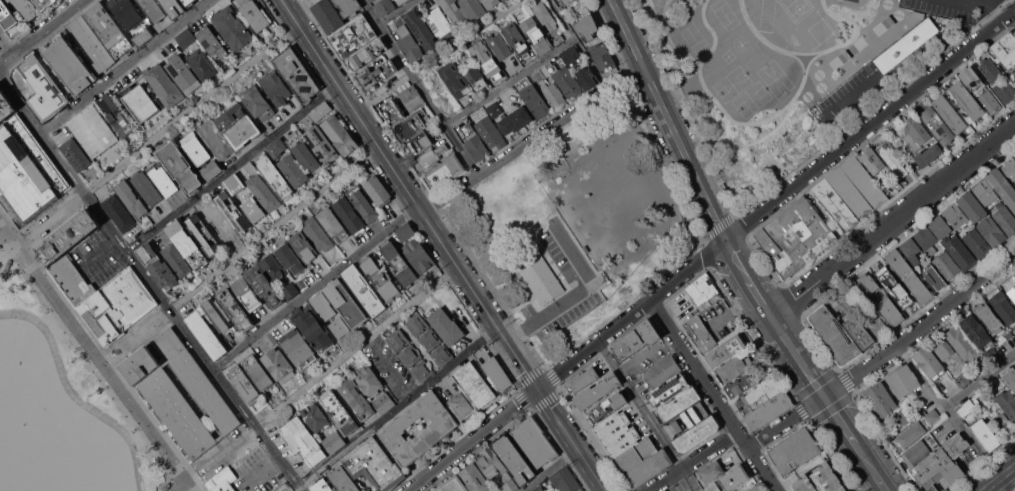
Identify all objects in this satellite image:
building: (9, 0)
building: (371, 0)
building: (504, 0)
building: (189, 2)
building: (565, 2)
building: (45, 3)
building: (490, 3)
road: (297, 5)
building: (384, 6)
building: (173, 7)
building: (348, 7)
road: (982, 7)
building: (473, 8)
building: (25, 9)
building: (152, 9)
building: (128, 12)
road: (396, 12)
building: (455, 13)
building: (254, 14)
building: (7, 15)
building: (328, 15)
building: (545, 17)
building: (954, 18)
building: (439, 21)
building: (231, 27)
building: (587, 27)
building: (108, 29)
building: (421, 29)
road: (41, 33)
building: (352, 35)
building: (143, 37)
building: (186, 38)
building: (516, 39)
building: (558, 40)
building: (408, 41)
building: (92, 42)
building: (212, 43)
road: (7, 44)
road: (578, 44)
building: (542, 45)
building: (906, 45)
building: (498, 46)
building: (1005, 49)
building: (368, 53)
building: (571, 55)
road: (443, 56)
building: (602, 58)
building: (487, 60)
building: (200, 63)
building: (70, 65)
road: (124, 66)
building: (990, 69)
building: (296, 73)
building: (183, 74)
building: (377, 74)
building: (1013, 76)
building: (476, 77)
building: (454, 78)
building: (586, 78)
building: (970, 78)
building: (566, 82)
building: (163, 83)
road: (510, 83)
building: (276, 87)
road: (419, 87)
building: (43, 88)
building: (549, 88)
building: (1005, 91)
building: (410, 96)
building: (533, 98)
building: (966, 100)
building: (988, 101)
building: (140, 102)
building: (257, 102)
building: (5, 107)
building: (494, 109)
building: (320, 110)
building: (391, 113)
building: (949, 113)
building: (115, 115)
building: (515, 120)
building: (238, 125)
road: (869, 125)
building: (937, 125)
building: (411, 127)
building: (917, 130)
building: (93, 131)
building: (489, 132)
road: (159, 134)
building: (339, 134)
building: (906, 136)
road: (532, 138)
building: (214, 139)
road: (678, 140)
building: (475, 142)
building: (418, 143)
building: (321, 144)
building: (276, 147)
building: (195, 148)
building: (303, 152)
building: (76, 154)
building: (928, 155)
building: (430, 156)
building: (892, 158)
building: (263, 160)
building: (872, 160)
building: (178, 164)
road: (233, 168)
building: (251, 168)
building: (212, 169)
building: (293, 169)
building: (1010, 169)
building: (27, 172)
building: (443, 173)
building: (274, 178)
building: (163, 180)
building: (234, 184)
building: (857, 187)
building: (1003, 187)
building: (1014, 187)
building: (146, 188)
building: (378, 191)
building: (263, 192)
building: (986, 192)
building: (131, 198)
building: (364, 203)
building: (835, 204)
building: (972, 206)
building: (253, 209)
building: (232, 211)
building: (119, 212)
building: (956, 215)
building: (349, 216)
building: (1005, 218)
road: (894, 221)
building: (332, 224)
building: (940, 227)
building: (405, 231)
building: (992, 232)
building: (317, 234)
building: (204, 235)
building: (67, 237)
building: (795, 237)
building: (927, 241)
building: (977, 243)
building: (188, 244)
road: (443, 245)
building: (0, 246)
building: (303, 246)
road: (97, 249)
building: (911, 250)
building: (959, 251)
building: (146, 252)
road: (244, 253)
building: (287, 255)
building: (418, 255)
building: (176, 260)
building: (8, 263)
building: (399, 263)
building: (899, 263)
building: (947, 265)
building: (273, 267)
building: (1014, 273)
building: (163, 274)
building: (380, 277)
building: (541, 277)
building: (935, 278)
building: (72, 282)
road: (150, 282)
building: (891, 282)
building: (301, 283)
building: (868, 283)
building: (263, 284)
parking lot: (586, 284)
road: (316, 287)
building: (918, 287)
building: (702, 289)
building: (290, 290)
building: (363, 290)
building: (246, 293)
road: (576, 293)
road: (761, 297)
building: (347, 303)
building: (323, 305)
building: (117, 306)
building: (834, 306)
building: (1003, 307)
building: (236, 310)
building: (890, 311)
building: (989, 318)
building: (875, 322)
building: (417, 324)
building: (210, 326)
building: (446, 326)
road: (920, 326)
building: (340, 327)
building: (313, 328)
building: (976, 330)
building: (859, 332)
building: (835, 334)
building: (702, 335)
building: (228, 336)
building: (430, 339)
building: (636, 339)
building: (271, 340)
building: (398, 340)
building: (962, 343)
building: (298, 348)
building: (943, 348)
building: (726, 350)
road: (103, 353)
building: (410, 355)
building: (442, 355)
building: (992, 355)
road: (798, 356)
building: (929, 362)
building: (278, 365)
road: (567, 365)
building: (1014, 365)
building: (735, 367)
road: (393, 370)
building: (422, 371)
building: (662, 371)
building: (258, 372)
building: (497, 373)
building: (1009, 377)
road: (314, 378)
building: (962, 379)
building: (582, 380)
building: (902, 380)
building: (369, 381)
road: (981, 383)
building: (244, 384)
building: (475, 384)
building: (739, 386)
building: (668, 390)
building: (597, 391)
building: (180, 392)
building: (978, 393)
road: (713, 395)
road: (74, 396)
building: (759, 396)
building: (356, 397)
building: (739, 398)
building: (880, 400)
building: (384, 402)
building: (1007, 402)
building: (677, 404)
building: (461, 405)
building: (608, 406)
road: (398, 407)
building: (965, 408)
building: (338, 411)
building: (769, 411)
road: (948, 411)
building: (905, 414)
building: (315, 416)
road: (648, 416)
building: (934, 416)
road: (840, 419)
road: (785, 421)
building: (1002, 424)
building: (440, 428)
park: (15, 430)
building: (696, 434)
building: (911, 434)
building: (985, 434)
building: (302, 440)
building: (334, 441)
building: (535, 441)
building: (631, 449)
building: (795, 450)
building: (915, 453)
road: (866, 458)
building: (514, 459)
road: (692, 461)
building: (491, 463)
building: (942, 464)
building: (374, 465)
road: (265, 468)
road: (549, 470)
building: (711, 471)
building: (475, 478)
road: (999, 478)
building: (343, 479)
building: (564, 479)
building: (223, 480)
building: (730, 480)
building: (820, 480)
road: (881, 482)
road: (1005, 484)
building: (453, 485)
building: (321, 486)
building: (509, 486)
building: (166, 487)
road: (294, 488)
building: (538, 488)
building: (756, 488)
building: (581, 489)

